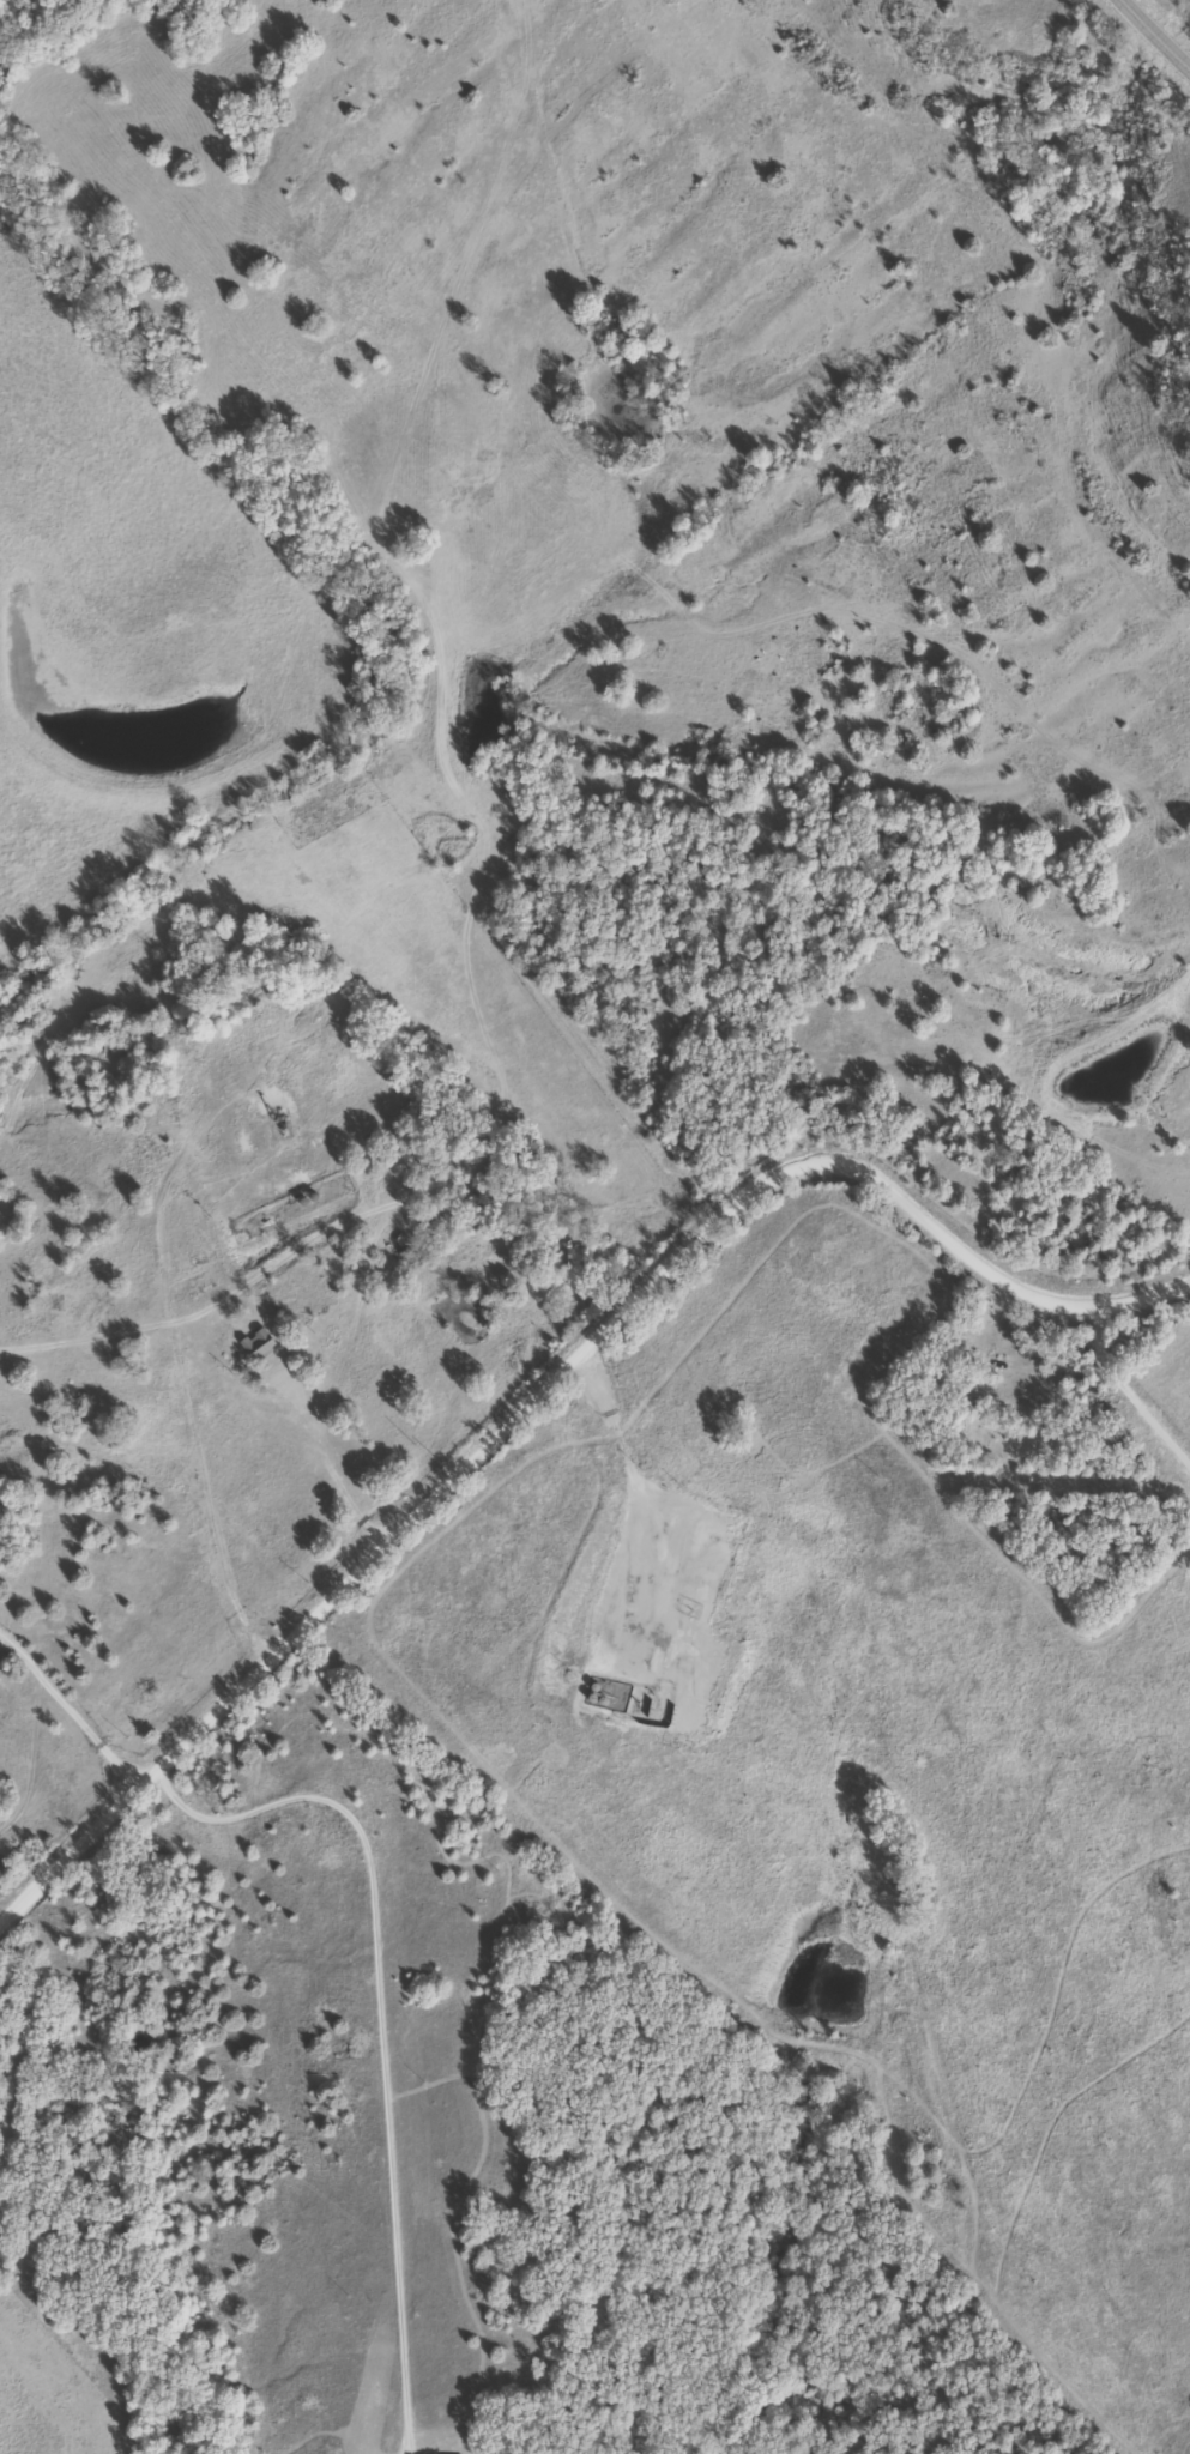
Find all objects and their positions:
road: (1155, 34)
road: (964, 1257)
road: (1087, 1305)
building: (252, 1346)
road: (616, 1446)
park: (1033, 1455)
road: (451, 1474)

